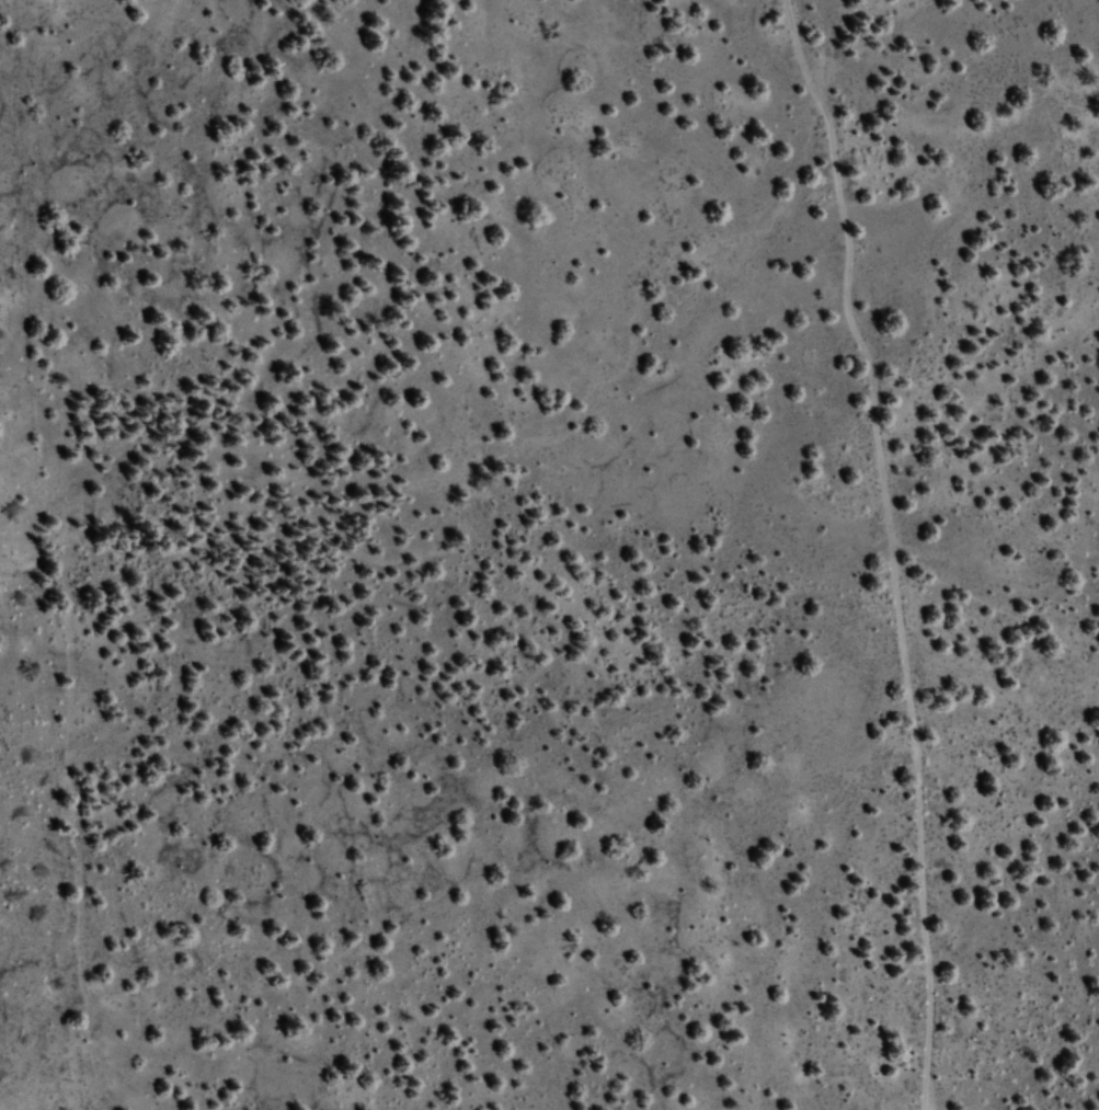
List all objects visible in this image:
road: (894, 548)

